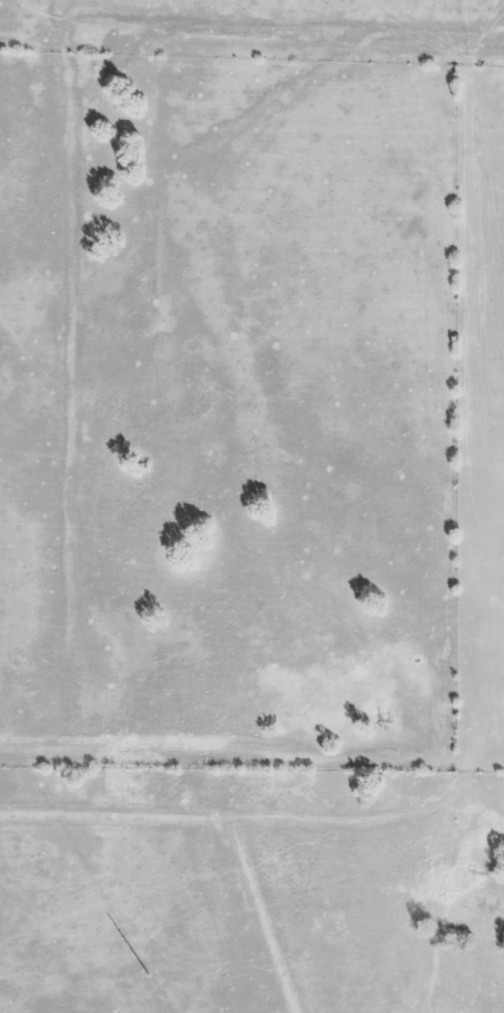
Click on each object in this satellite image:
power tower: (150, 974)

